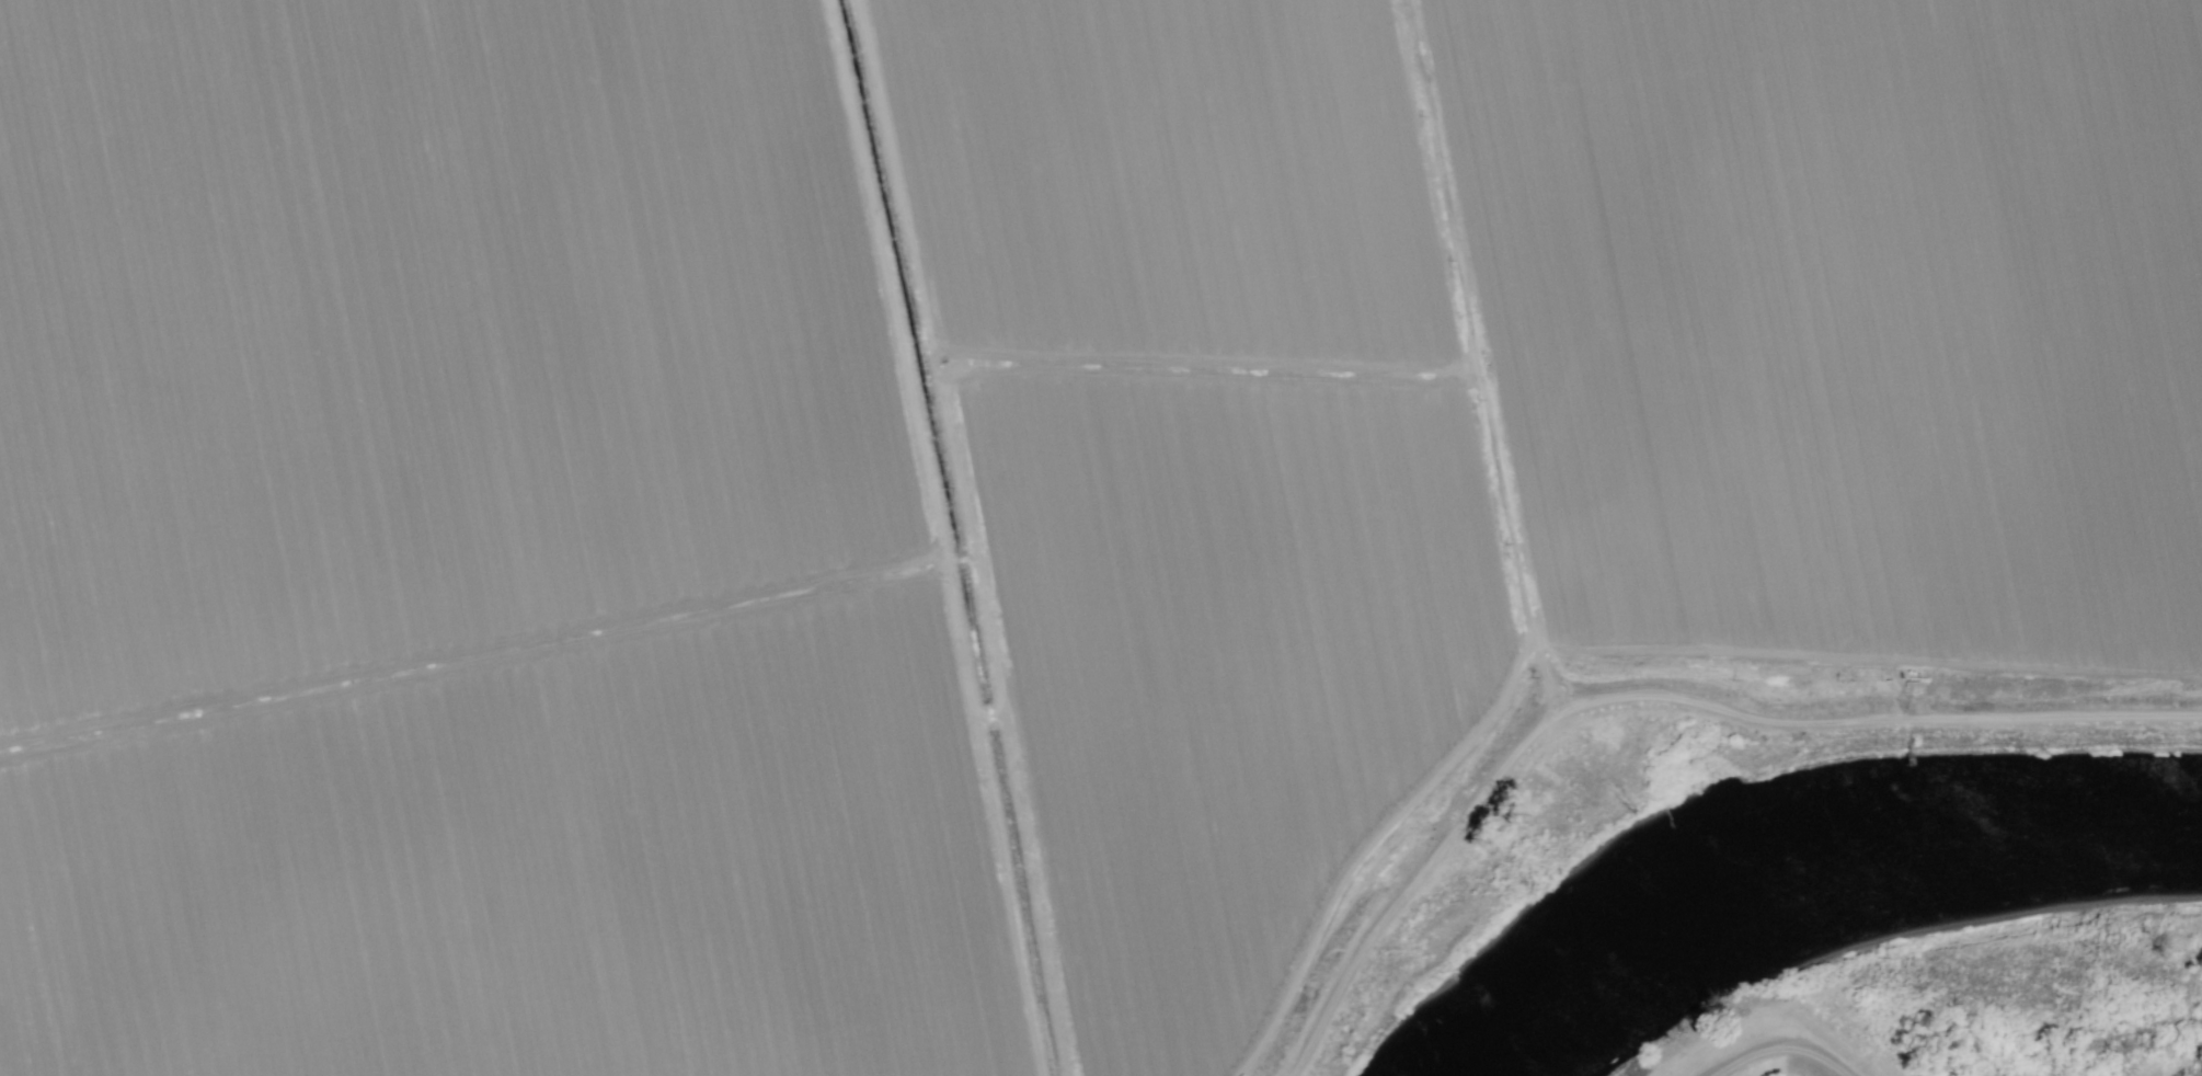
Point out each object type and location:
road: (1643, 729)
river: (1799, 861)
road: (1789, 1056)

